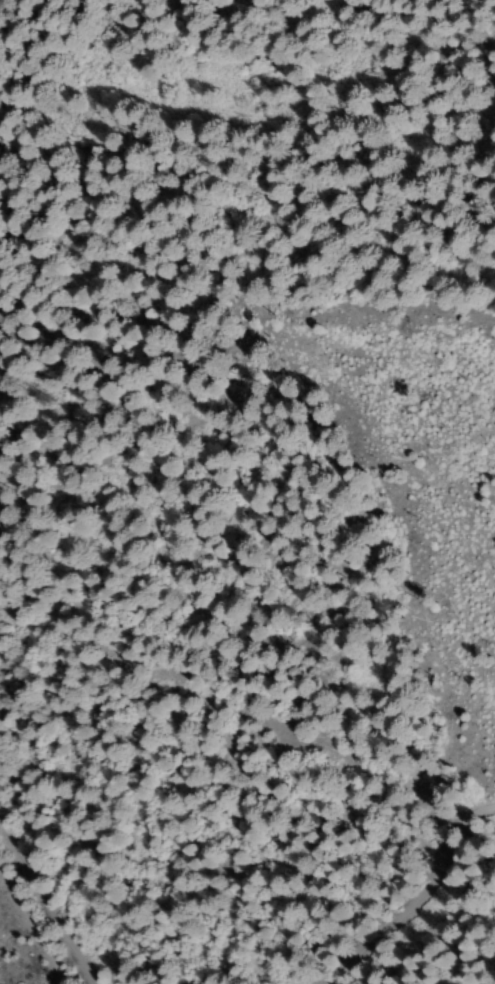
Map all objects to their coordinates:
road: (47, 908)
road: (248, 947)

